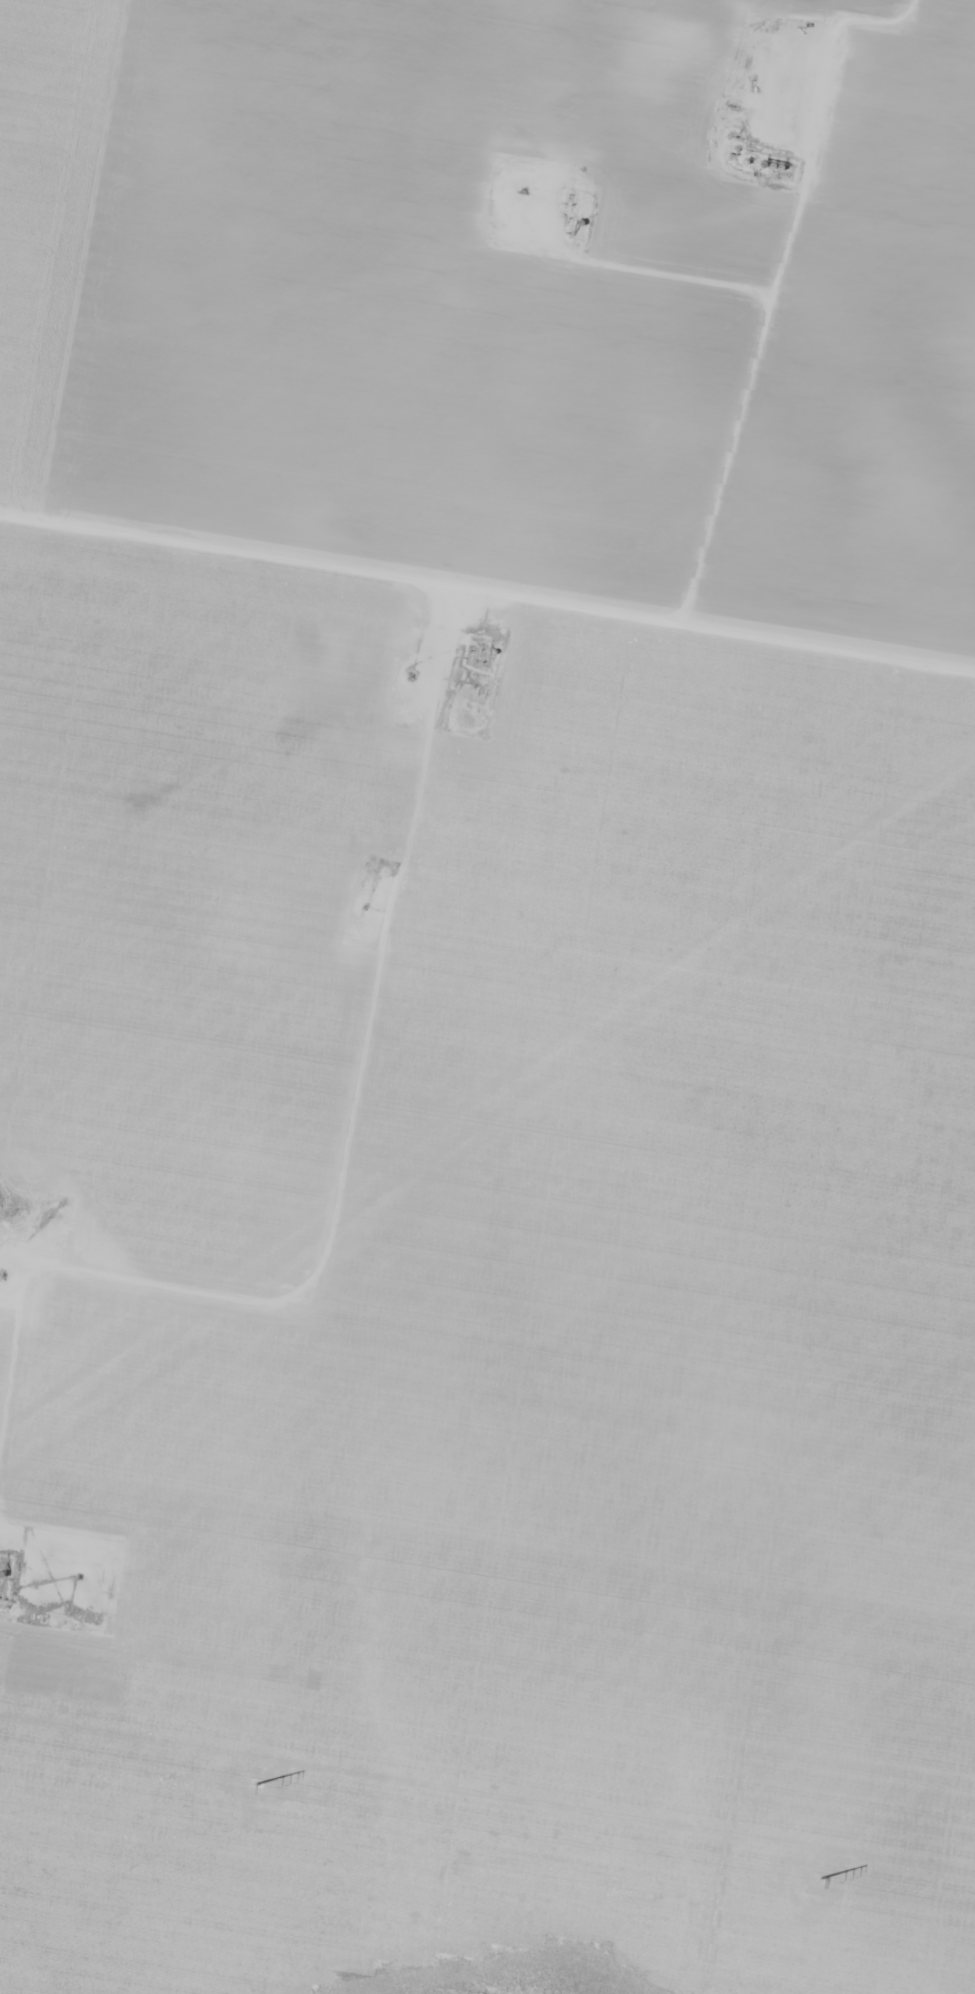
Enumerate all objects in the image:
building: (188, 150)
road: (487, 572)
wastewater plant: (4, 1188)
power tower: (264, 1786)
power tower: (827, 1881)

